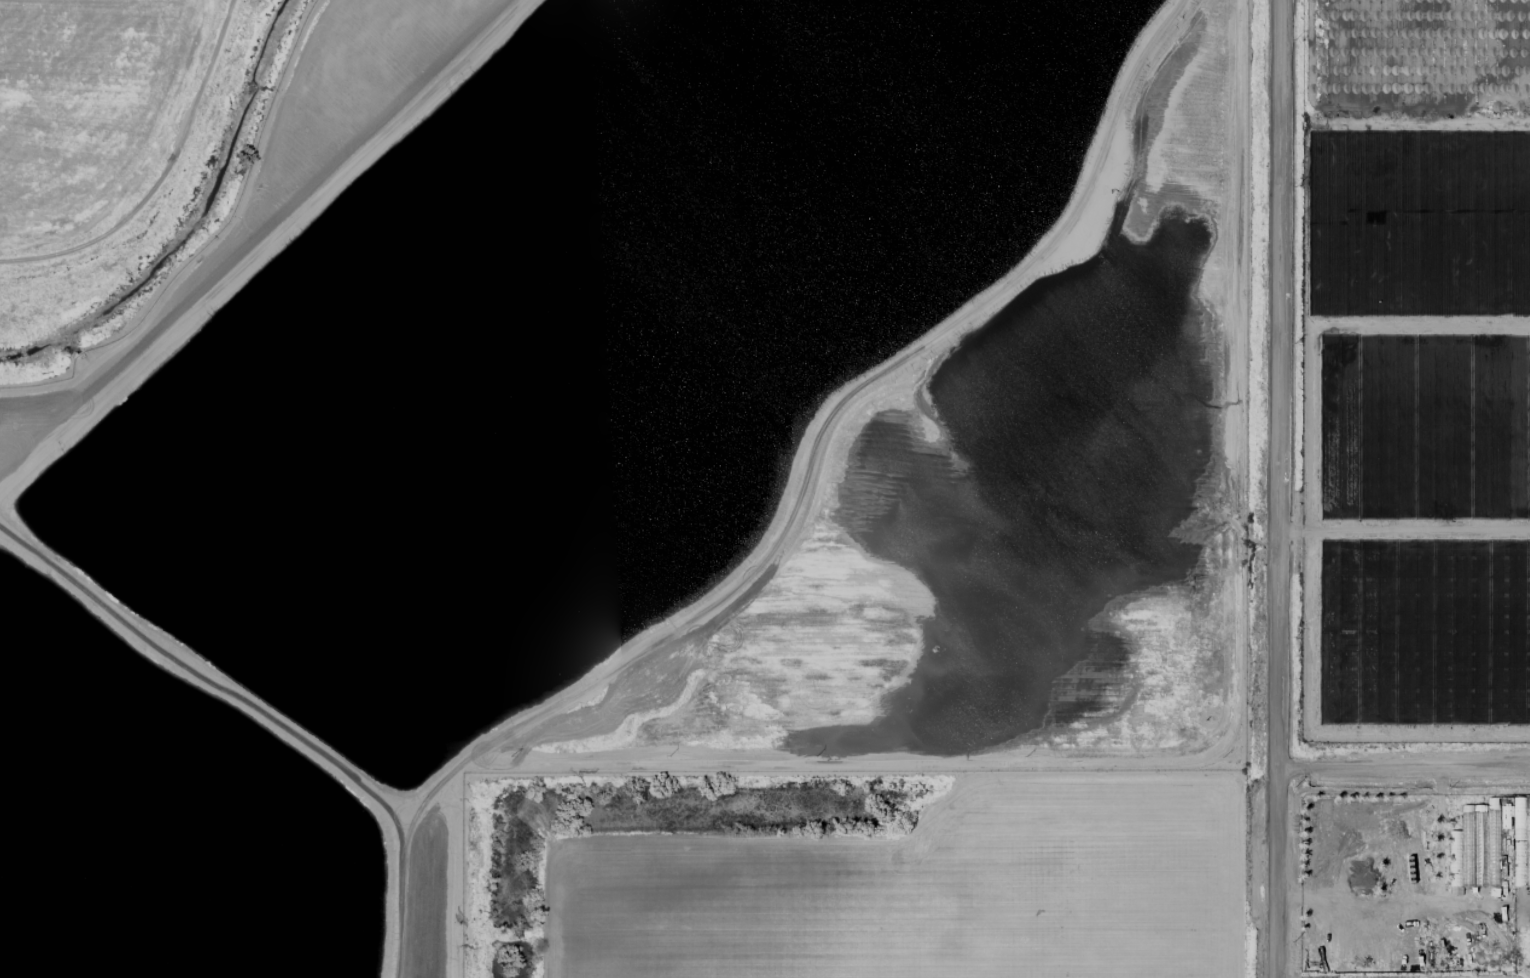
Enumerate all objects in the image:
river: (185, 211)
road: (1275, 489)
road: (1402, 770)
building: (1460, 847)

